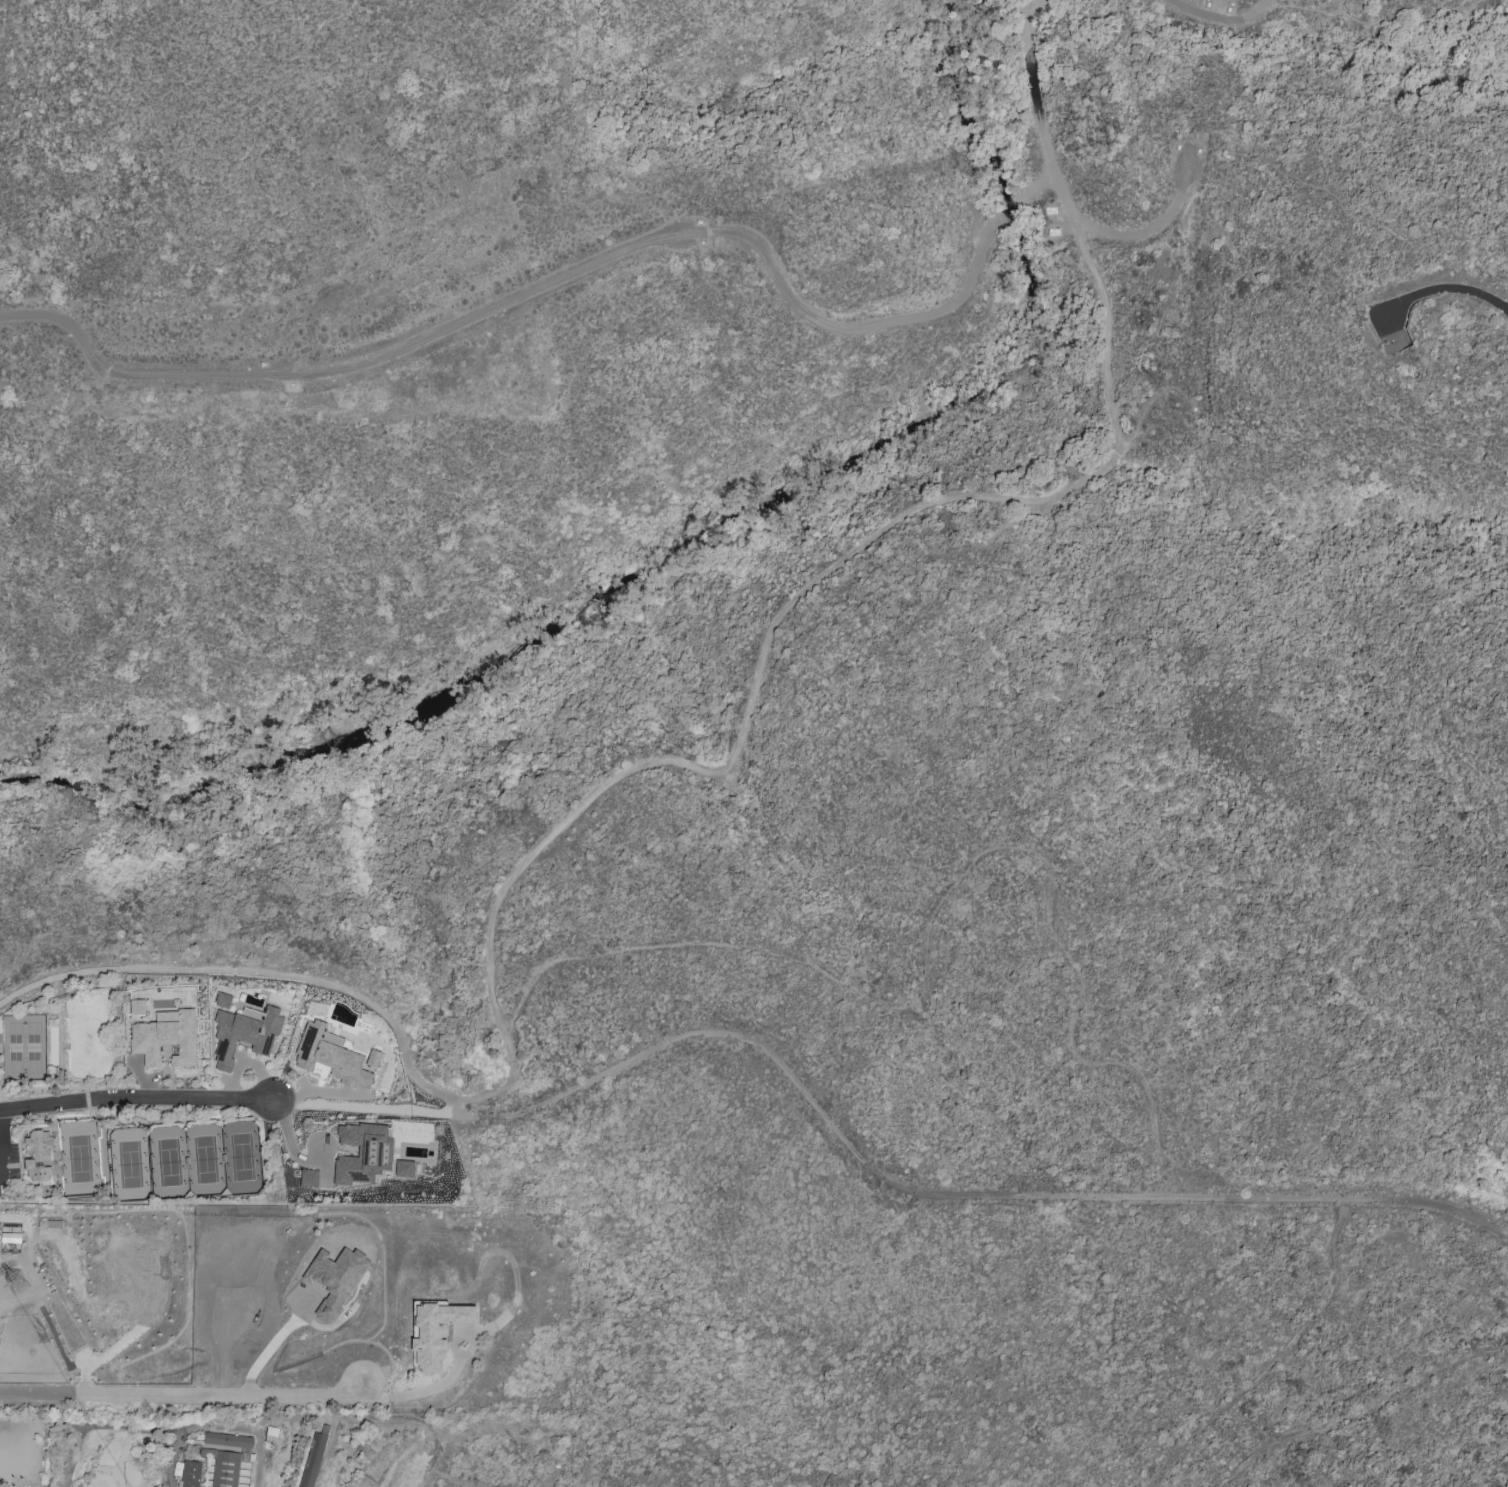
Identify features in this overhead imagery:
road: (1476, 2)
road: (1259, 7)
road: (1321, 10)
road: (1490, 10)
road: (1214, 17)
road: (1032, 87)
road: (1325, 189)
road: (1133, 231)
road: (568, 275)
road: (1457, 291)
road: (765, 640)
road: (934, 914)
road: (230, 971)
building: (223, 1000)
building: (137, 1006)
building: (245, 1033)
building: (166, 1037)
building: (334, 1056)
road: (135, 1100)
road: (360, 1110)
road: (1, 1141)
road: (289, 1142)
building: (362, 1154)
building: (38, 1155)
park: (241, 1156)
park: (79, 1158)
park: (205, 1159)
park: (168, 1162)
park: (130, 1164)
building: (404, 1168)
building: (309, 1178)
road: (926, 1194)
building: (10, 1237)
building: (336, 1278)
power tower: (18, 1284)
building: (436, 1332)
road: (273, 1344)
road: (417, 1393)
road: (181, 1395)
building: (227, 1456)
building: (313, 1460)
building: (190, 1473)

